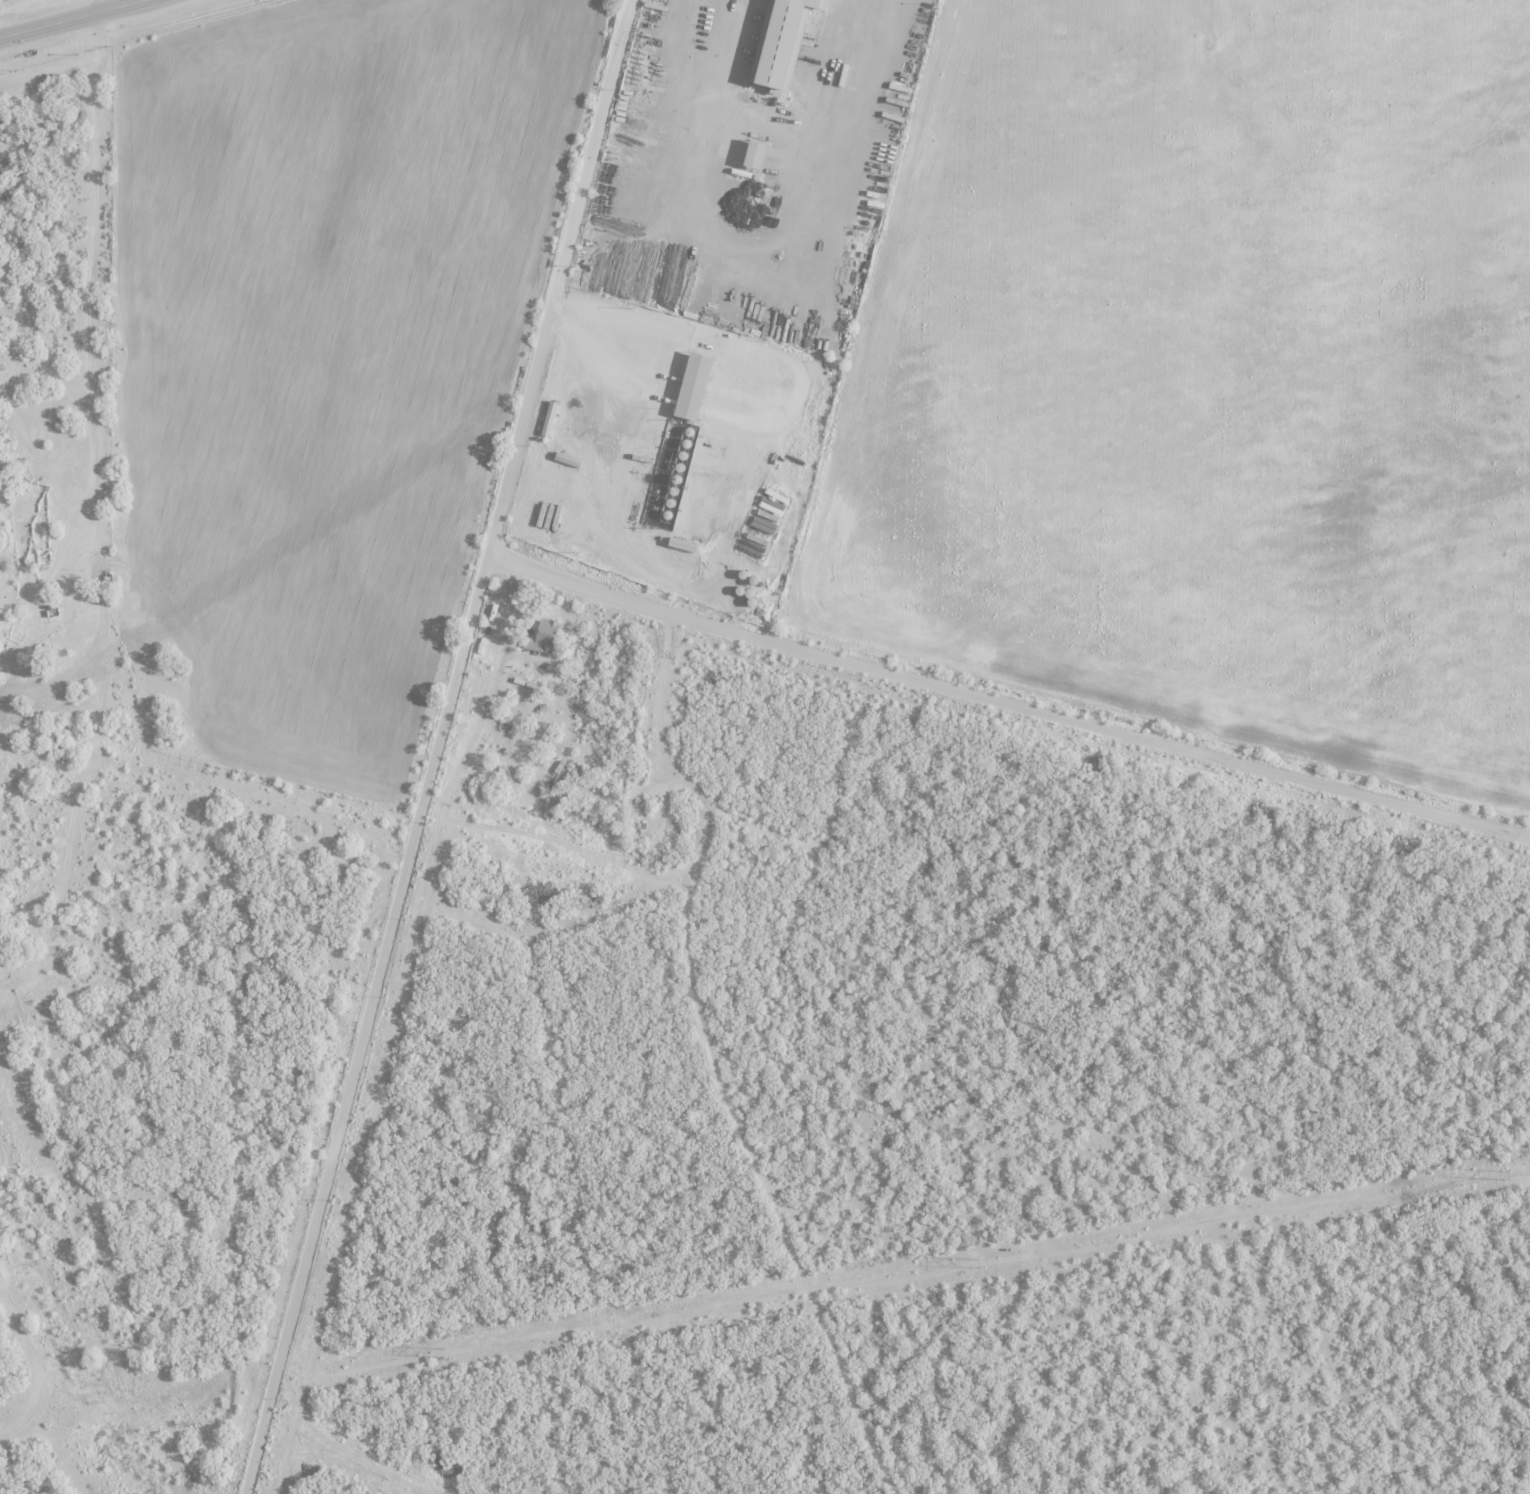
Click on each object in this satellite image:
road: (109, 4)
road: (70, 18)
road: (94, 306)
building: (700, 535)
building: (544, 637)
road: (1008, 698)
road: (440, 746)
power tower: (1505, 1176)
power tower: (979, 1265)
power tower: (445, 1353)

